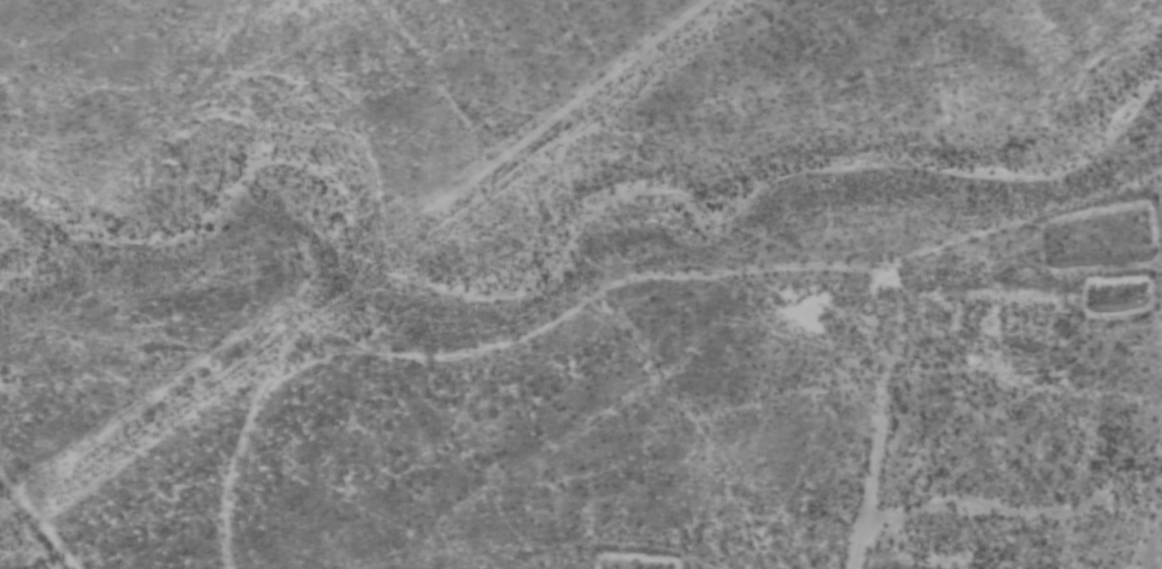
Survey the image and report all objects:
road: (871, 492)

